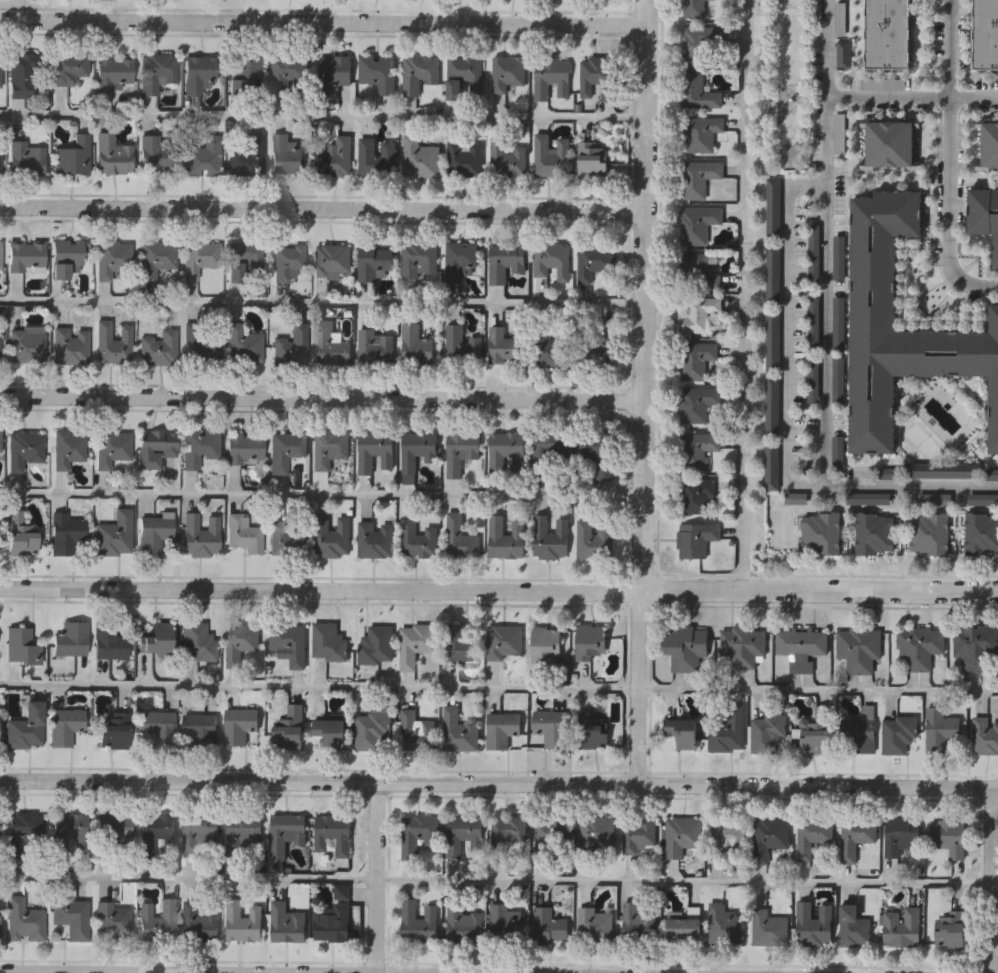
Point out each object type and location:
building: (694, 9)
building: (815, 12)
building: (840, 18)
road: (323, 22)
building: (888, 34)
building: (985, 35)
building: (701, 42)
road: (827, 49)
building: (845, 54)
building: (71, 69)
building: (0, 70)
building: (156, 71)
building: (335, 71)
building: (114, 73)
building: (378, 73)
building: (419, 73)
building: (508, 73)
building: (199, 74)
building: (246, 75)
building: (287, 75)
building: (23, 76)
building: (464, 77)
building: (551, 77)
building: (598, 77)
building: (884, 82)
building: (698, 92)
road: (323, 118)
building: (702, 133)
building: (839, 134)
building: (890, 144)
building: (989, 144)
building: (155, 153)
building: (113, 154)
building: (285, 154)
building: (72, 156)
building: (247, 156)
building: (552, 156)
building: (203, 157)
building: (337, 157)
building: (377, 157)
building: (25, 158)
building: (420, 158)
building: (465, 158)
building: (508, 159)
building: (593, 159)
road: (949, 159)
building: (699, 177)
road: (322, 207)
building: (775, 209)
building: (983, 215)
building: (697, 224)
building: (815, 251)
building: (0, 252)
building: (200, 256)
building: (840, 256)
building: (27, 257)
building: (66, 257)
building: (157, 258)
building: (244, 259)
building: (420, 259)
building: (553, 259)
building: (115, 260)
building: (333, 260)
building: (461, 260)
building: (505, 260)
building: (287, 261)
building: (374, 261)
building: (594, 261)
building: (697, 272)
building: (774, 273)
road: (828, 291)
road: (747, 296)
road: (322, 304)
building: (698, 314)
building: (873, 317)
building: (839, 322)
building: (814, 324)
road: (786, 334)
building: (773, 339)
building: (599, 342)
building: (202, 343)
building: (244, 344)
building: (27, 345)
building: (70, 345)
building: (113, 345)
building: (330, 345)
building: (418, 345)
building: (292, 346)
building: (374, 347)
building: (463, 347)
building: (504, 347)
building: (159, 348)
building: (553, 349)
building: (0, 355)
building: (696, 359)
building: (814, 379)
building: (839, 379)
road: (645, 392)
road: (322, 397)
building: (697, 403)
building: (773, 406)
building: (0, 440)
building: (200, 446)
building: (68, 447)
building: (112, 447)
building: (156, 447)
building: (245, 447)
building: (25, 448)
building: (331, 448)
building: (286, 450)
building: (599, 450)
building: (698, 450)
building: (375, 451)
building: (461, 451)
building: (839, 451)
building: (416, 452)
building: (507, 453)
building: (550, 454)
building: (773, 465)
building: (942, 469)
road: (322, 495)
building: (698, 496)
building: (868, 498)
building: (934, 498)
building: (983, 498)
building: (66, 532)
building: (154, 532)
building: (244, 533)
building: (822, 533)
building: (874, 533)
building: (931, 533)
building: (981, 533)
building: (20, 534)
building: (115, 534)
building: (201, 535)
building: (333, 536)
building: (595, 537)
building: (286, 538)
building: (506, 538)
building: (551, 538)
building: (376, 539)
building: (418, 539)
building: (461, 539)
building: (696, 539)
road: (499, 592)
building: (155, 638)
building: (71, 639)
building: (109, 640)
building: (198, 641)
building: (242, 641)
building: (329, 642)
building: (505, 642)
building: (290, 643)
building: (590, 643)
building: (377, 644)
building: (416, 644)
building: (461, 644)
building: (547, 644)
building: (22, 646)
building: (744, 646)
building: (802, 646)
building: (920, 646)
building: (976, 646)
building: (687, 647)
building: (861, 648)
road: (319, 689)
road: (818, 692)
building: (66, 725)
building: (239, 725)
building: (26, 726)
building: (289, 729)
building: (502, 729)
building: (551, 729)
building: (592, 729)
building: (113, 730)
building: (159, 730)
building: (728, 730)
building: (940, 730)
building: (373, 731)
building: (460, 731)
building: (200, 732)
building: (418, 732)
building: (817, 732)
building: (861, 732)
building: (682, 733)
building: (330, 734)
building: (769, 734)
building: (899, 736)
building: (985, 736)
road: (498, 782)
building: (510, 830)
building: (154, 831)
building: (200, 831)
building: (598, 831)
building: (69, 832)
building: (287, 833)
building: (553, 833)
building: (639, 833)
building: (26, 834)
building: (112, 834)
building: (420, 834)
building: (465, 835)
building: (683, 835)
building: (333, 836)
building: (770, 836)
building: (813, 836)
building: (857, 836)
building: (245, 837)
building: (903, 837)
building: (950, 837)
building: (728, 838)
road: (375, 877)
road: (993, 879)
road: (496, 881)
road: (995, 887)
building: (72, 917)
building: (334, 917)
building: (24, 920)
building: (114, 920)
building: (156, 920)
building: (244, 921)
building: (638, 921)
building: (200, 922)
building: (419, 922)
building: (465, 922)
building: (506, 922)
building: (288, 923)
building: (814, 923)
building: (0, 924)
building: (595, 924)
building: (727, 925)
building: (549, 926)
building: (854, 926)
building: (903, 927)
building: (769, 928)
building: (684, 929)
building: (951, 929)
road: (60, 972)

